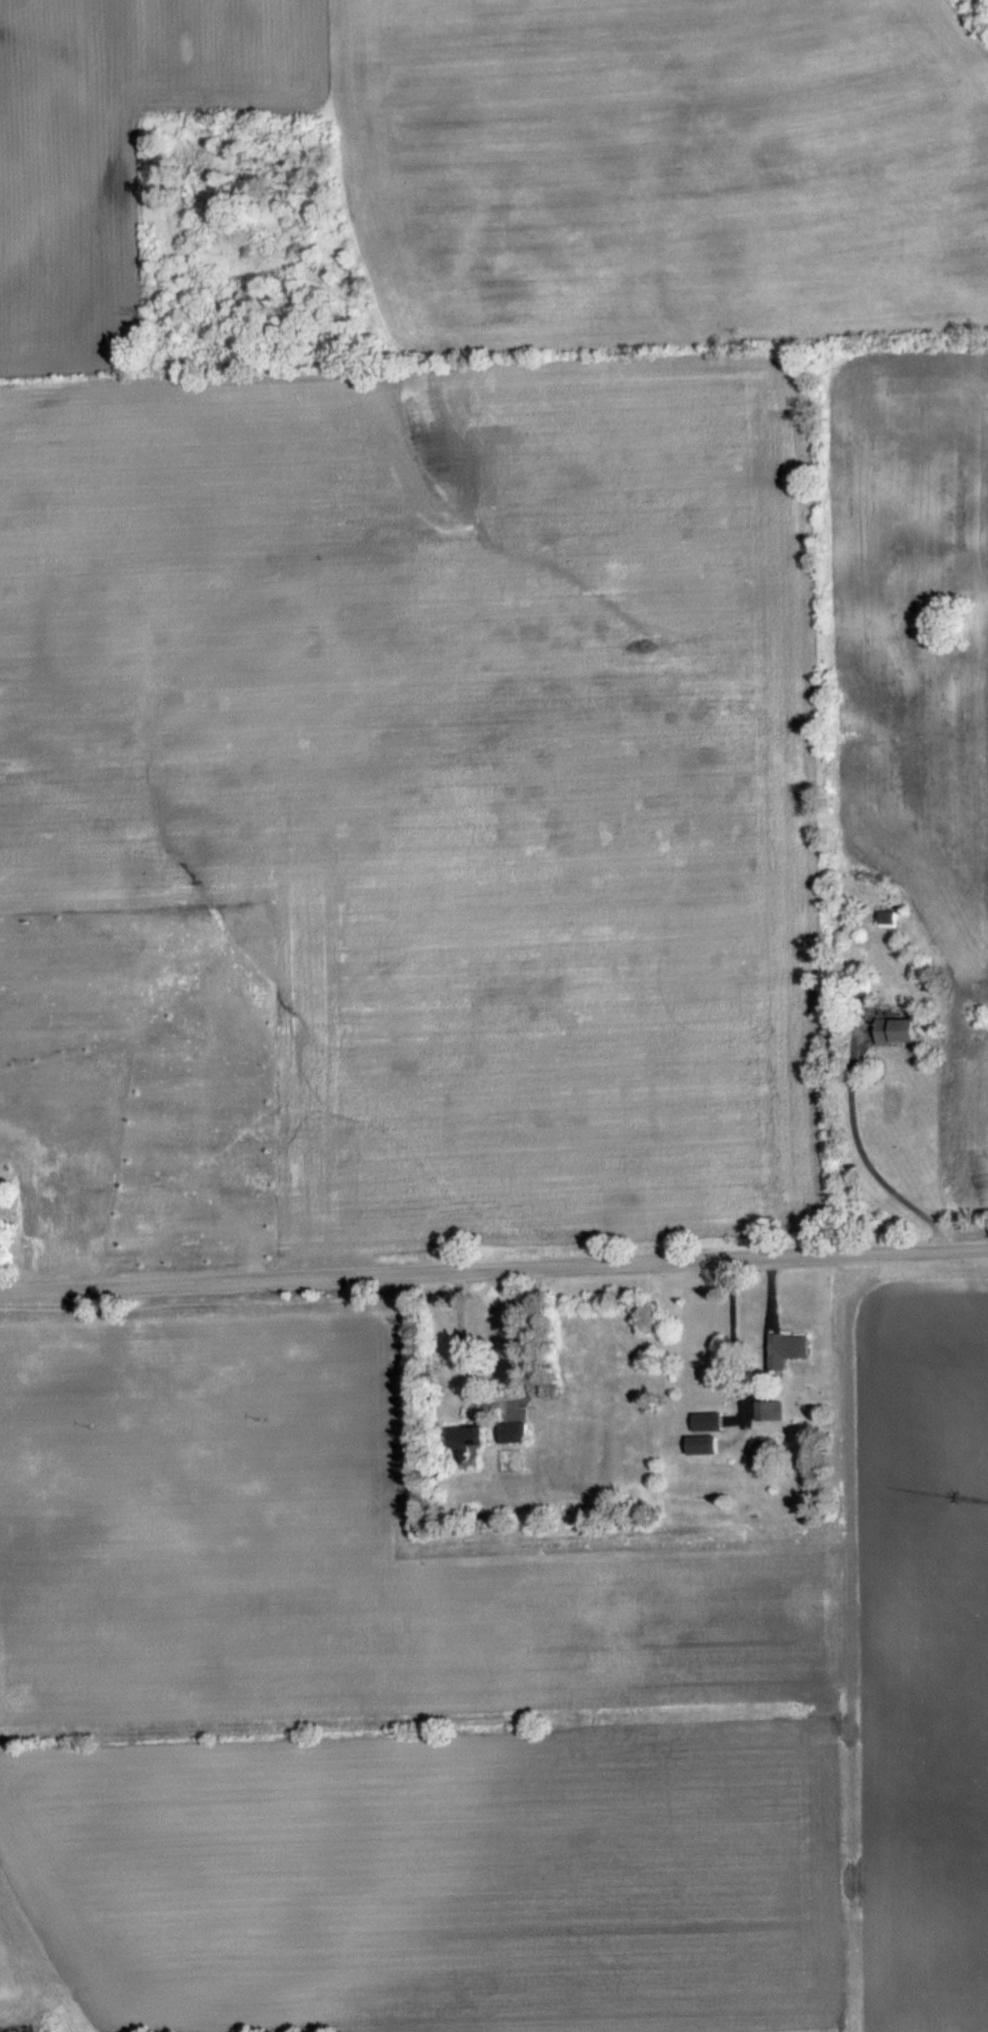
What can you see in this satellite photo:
road: (864, 1161)
road: (493, 1268)
road: (766, 1307)
road: (730, 1348)
building: (788, 1348)
road: (465, 1365)
road: (738, 1410)
building: (766, 1410)
building: (707, 1420)
road: (735, 1429)
building: (513, 1432)
building: (473, 1435)
building: (703, 1444)
building: (762, 1451)

